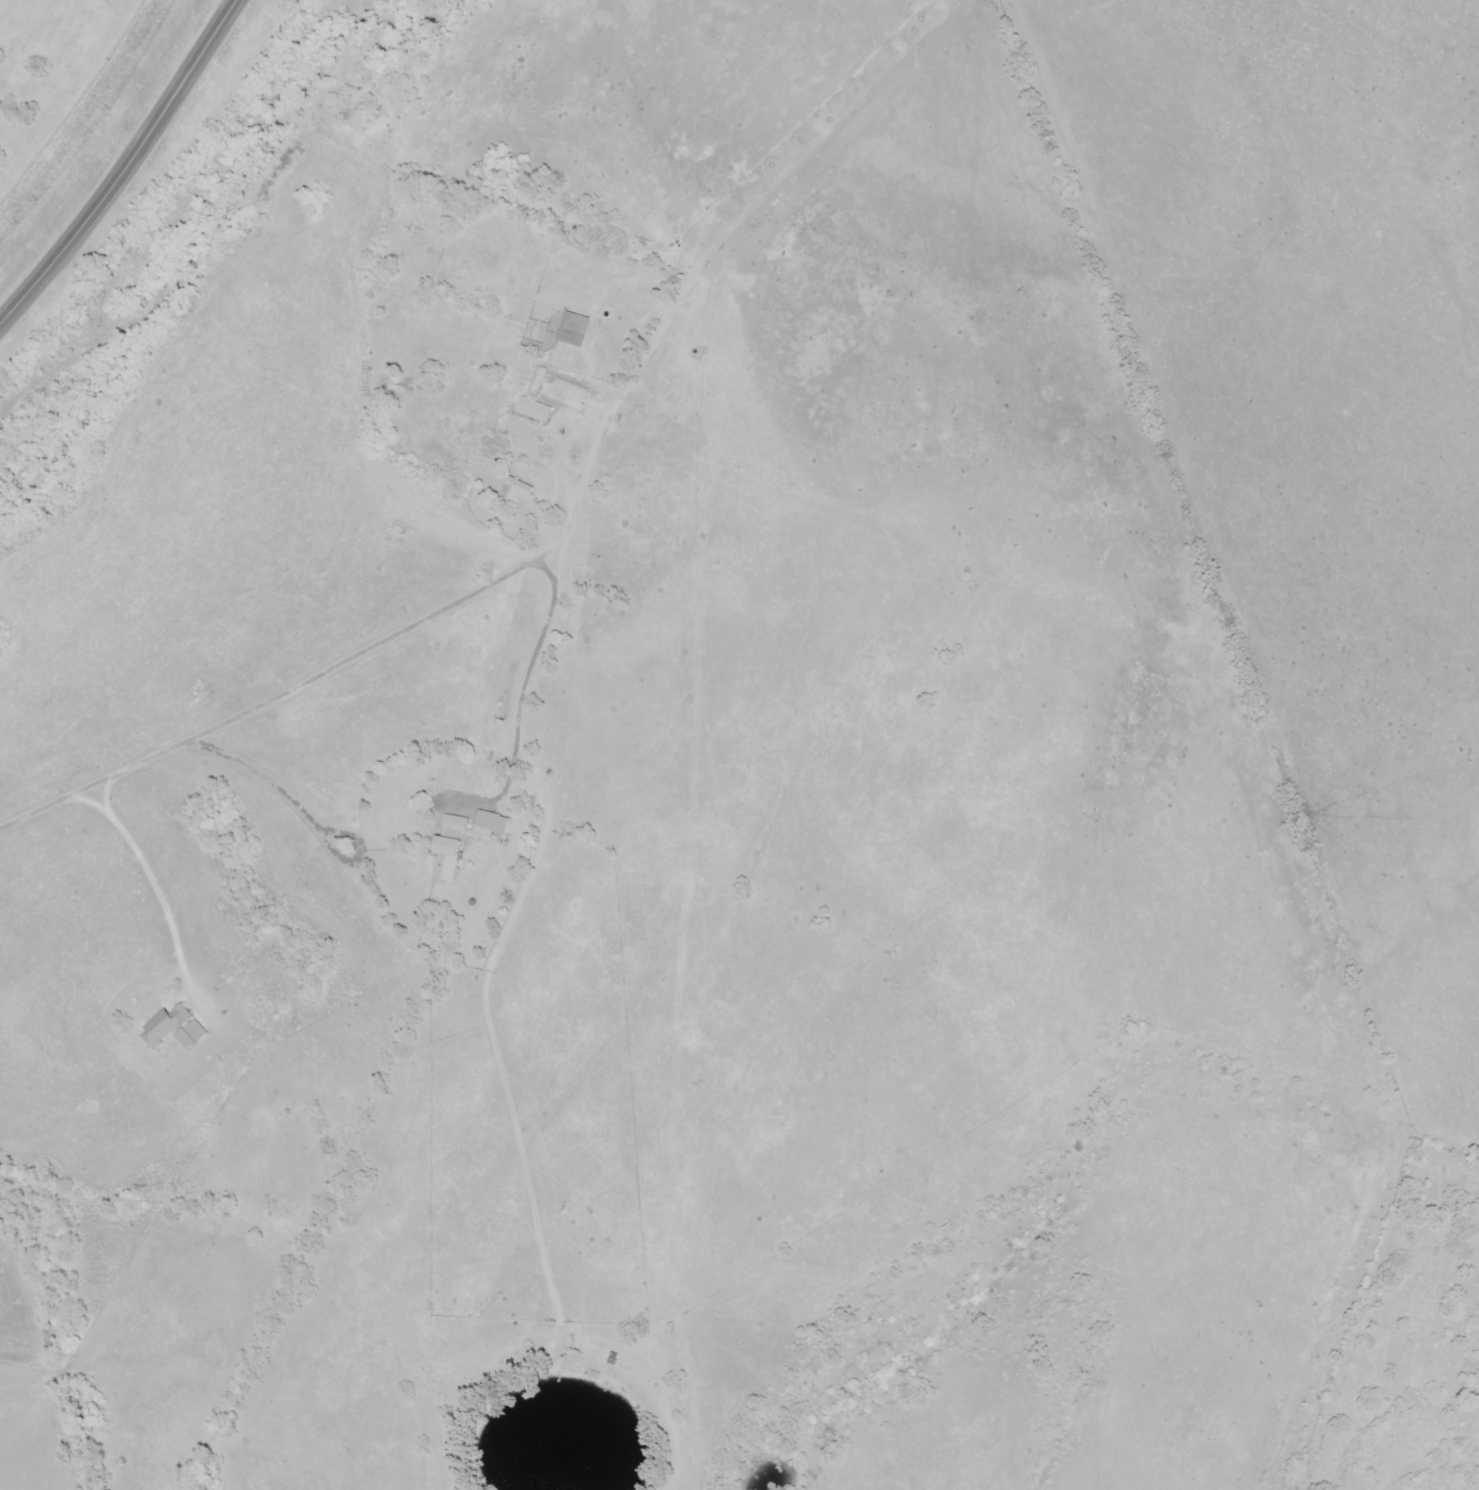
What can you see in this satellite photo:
railway: (78, 103)
road: (125, 167)
building: (572, 330)
building: (568, 396)
building: (534, 411)
building: (517, 492)
road: (350, 655)
building: (491, 823)
building: (454, 826)
building: (445, 861)
building: (173, 1029)

